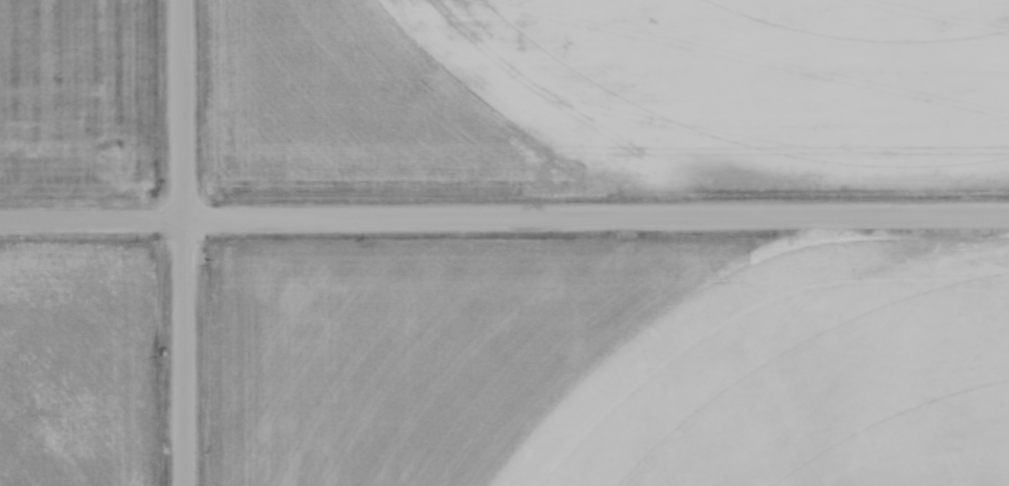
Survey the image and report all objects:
road: (182, 109)
road: (596, 215)
road: (92, 218)
road: (185, 351)

